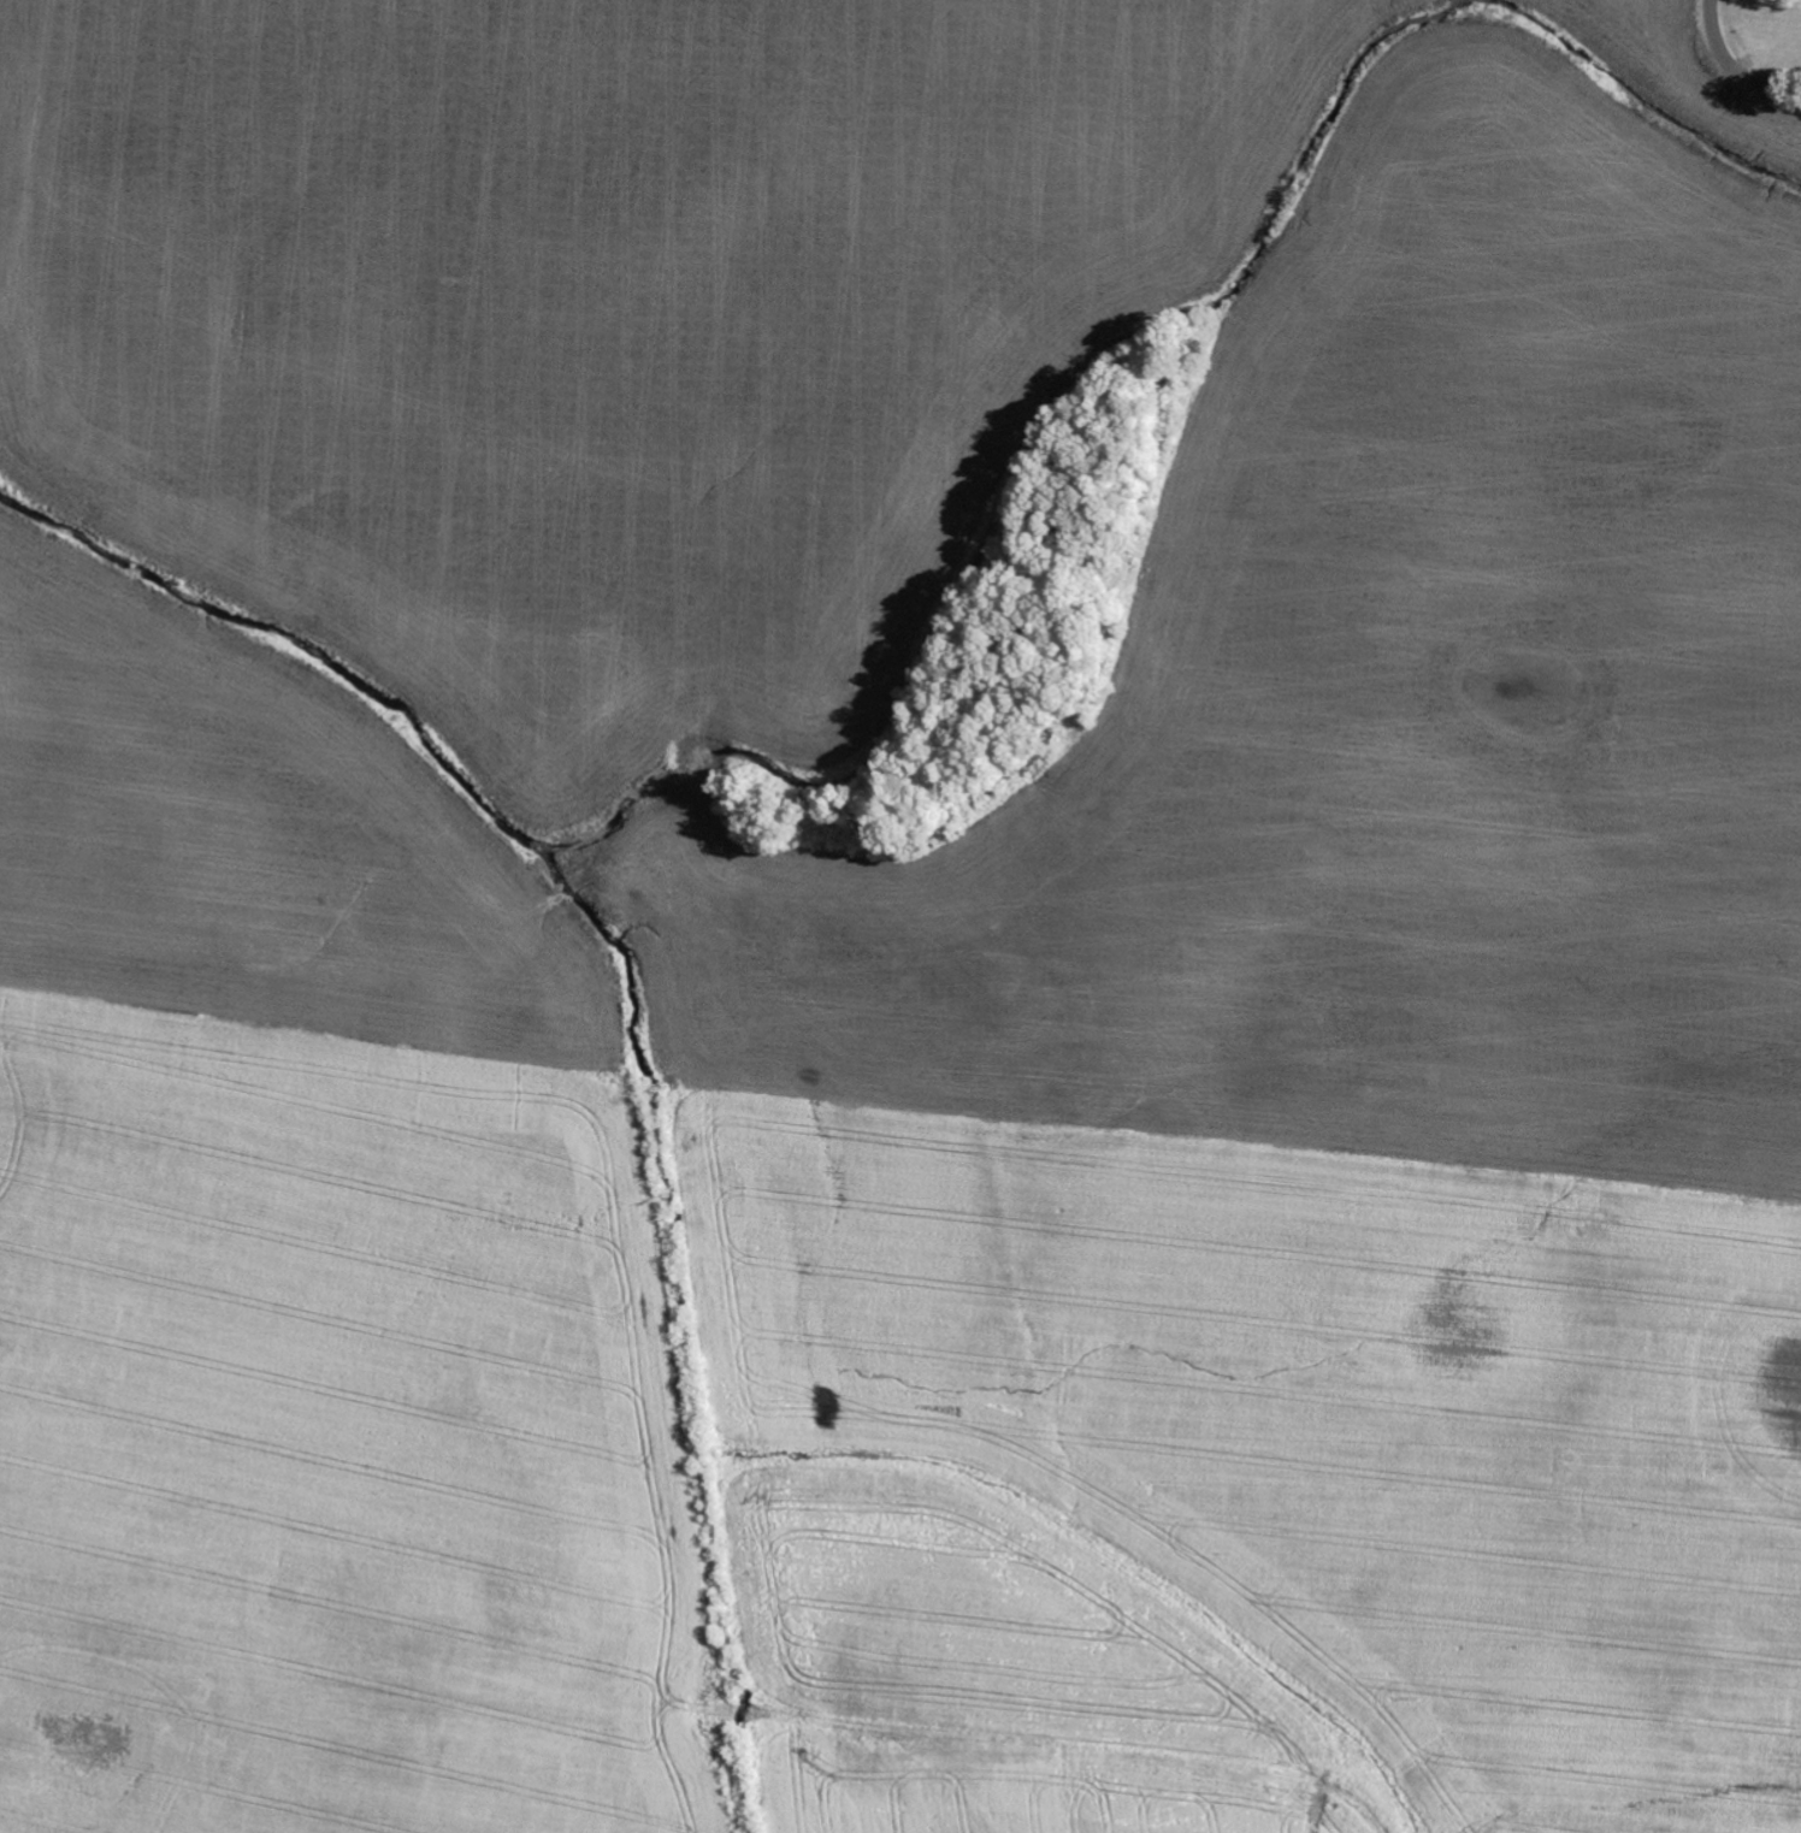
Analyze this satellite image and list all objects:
road: (1734, 67)

